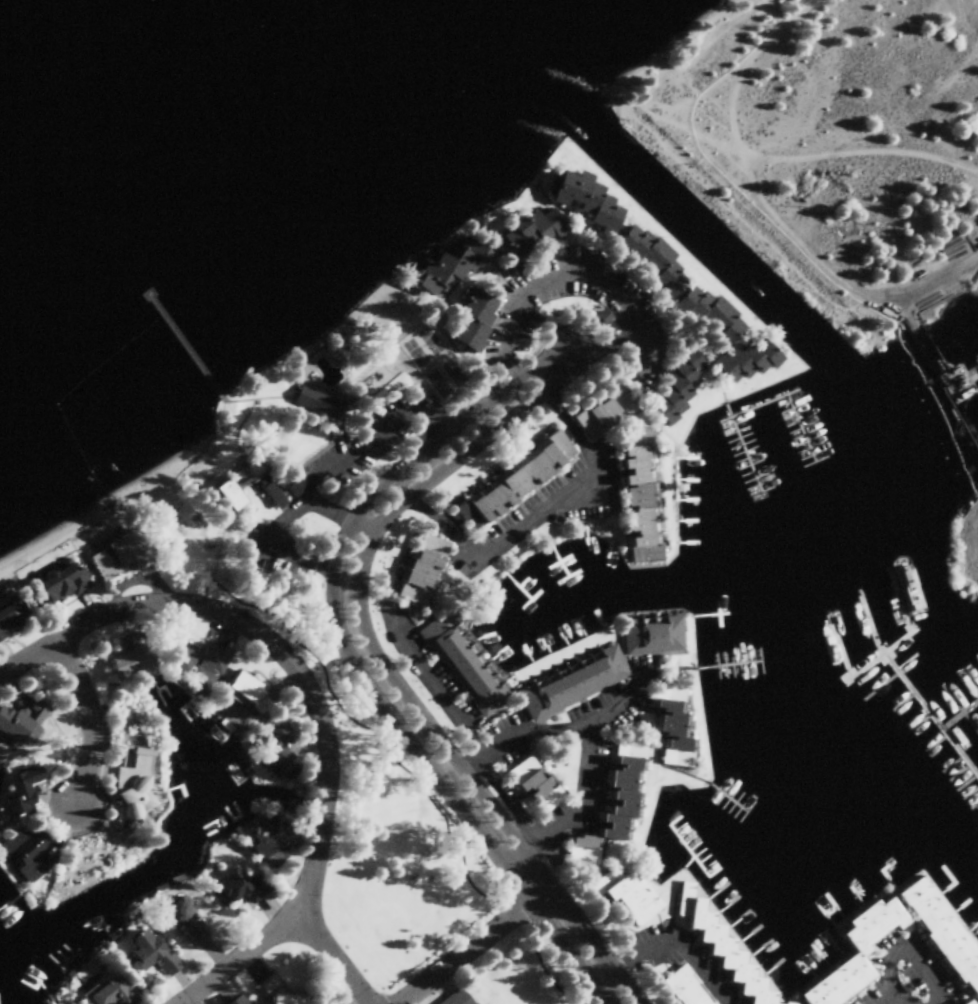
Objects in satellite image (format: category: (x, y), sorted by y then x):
road: (765, 160)
building: (589, 204)
building: (530, 240)
building: (653, 262)
building: (449, 269)
building: (704, 312)
building: (475, 324)
pier: (186, 349)
building: (746, 363)
park: (437, 367)
building: (679, 391)
building: (319, 406)
building: (605, 416)
building: (252, 474)
building: (521, 479)
building: (272, 495)
building: (230, 498)
building: (641, 501)
building: (116, 557)
building: (424, 573)
building: (62, 588)
building: (12, 618)
building: (654, 639)
road: (268, 642)
building: (131, 661)
road: (353, 665)
building: (466, 668)
building: (202, 670)
road: (387, 673)
building: (575, 687)
building: (249, 695)
road: (614, 703)
road: (91, 722)
building: (22, 723)
building: (673, 729)
road: (589, 748)
building: (632, 752)
building: (282, 756)
building: (535, 788)
building: (25, 794)
building: (137, 795)
building: (621, 801)
building: (268, 837)
building: (583, 852)
building: (31, 856)
building: (243, 891)
building: (633, 902)
building: (191, 928)
building: (942, 936)
road: (479, 947)
building: (723, 951)
road: (911, 952)
building: (145, 955)
building: (857, 956)
road: (691, 959)
road: (243, 960)
road: (336, 960)
building: (687, 989)
building: (277, 995)
building: (112, 996)
building: (459, 998)
road: (891, 1001)
road: (901, 1001)
building: (238, 1002)
building: (964, 1002)

